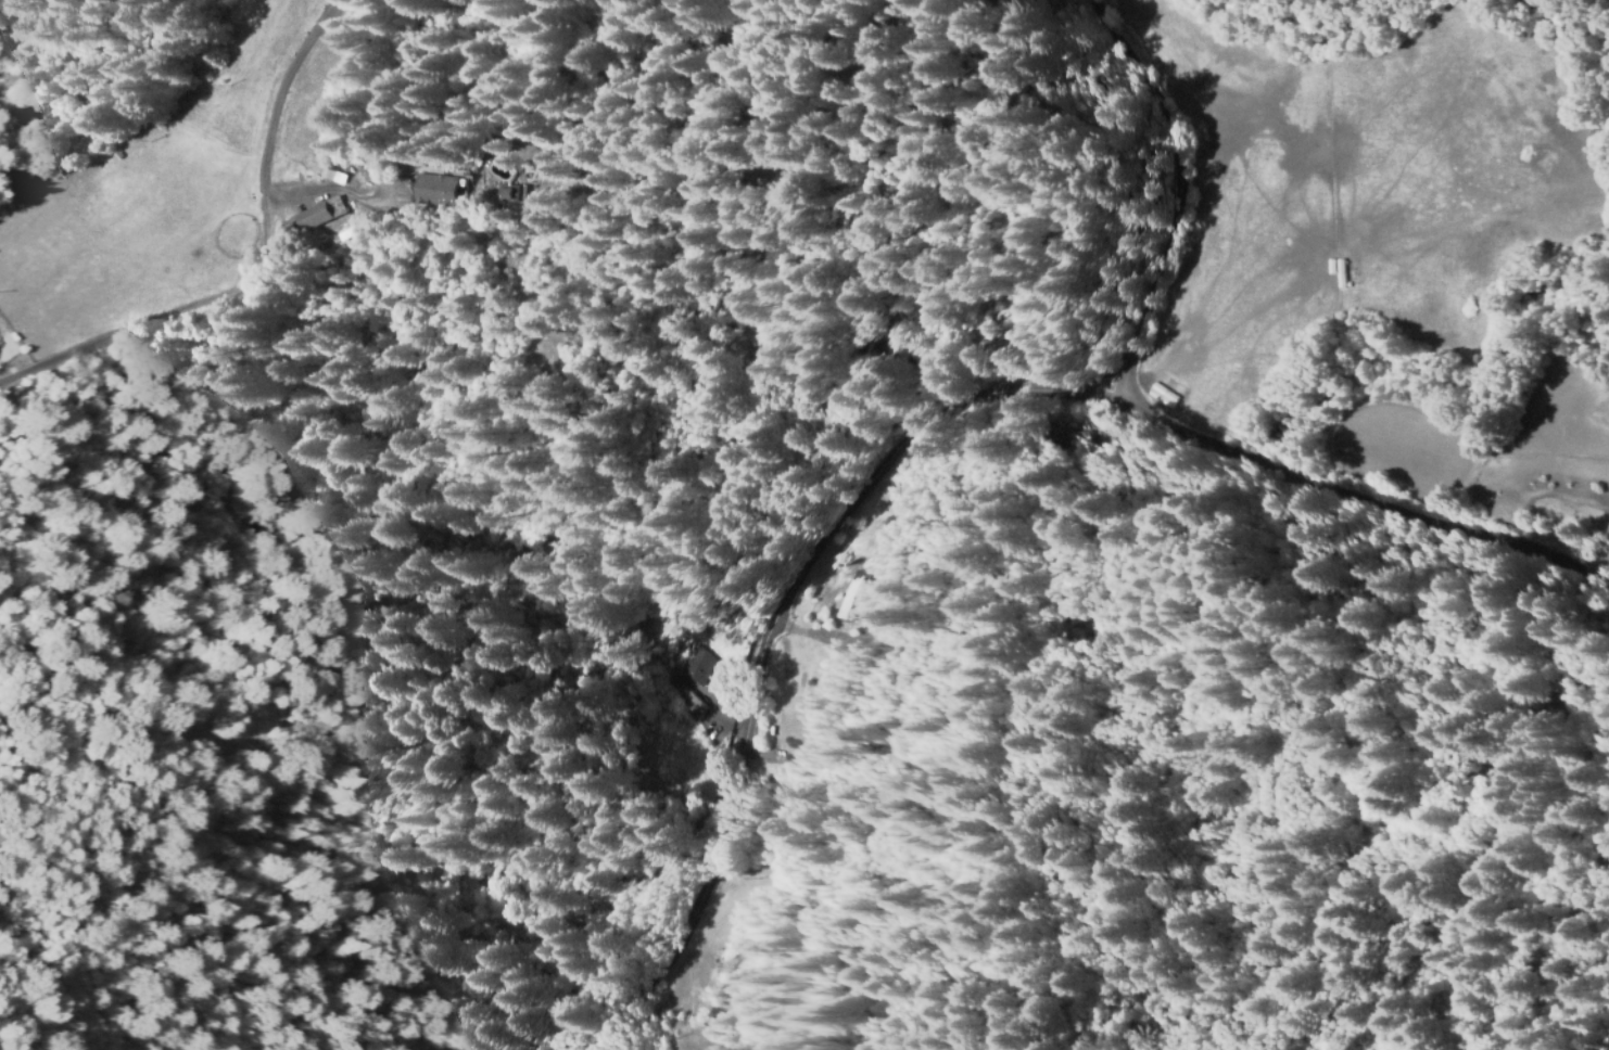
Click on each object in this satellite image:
building: (369, 167)
building: (378, 169)
building: (446, 184)
building: (512, 193)
building: (311, 219)
building: (1160, 396)
road: (1151, 419)
building: (1064, 436)
building: (847, 596)
road: (769, 636)
building: (684, 666)
building: (668, 699)

